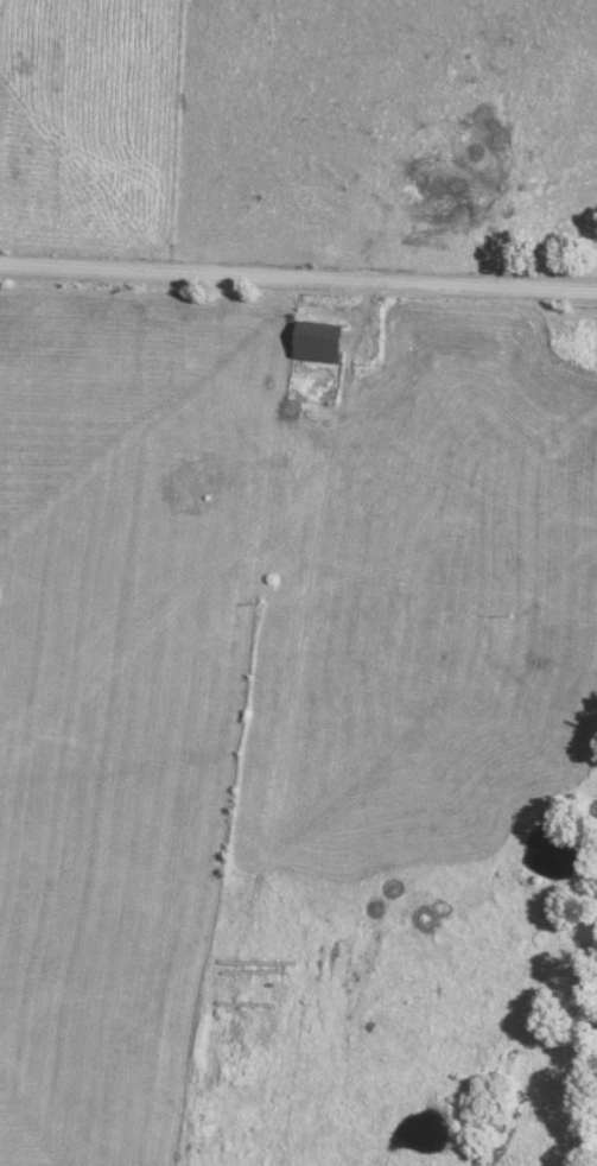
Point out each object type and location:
road: (298, 275)
building: (329, 340)

